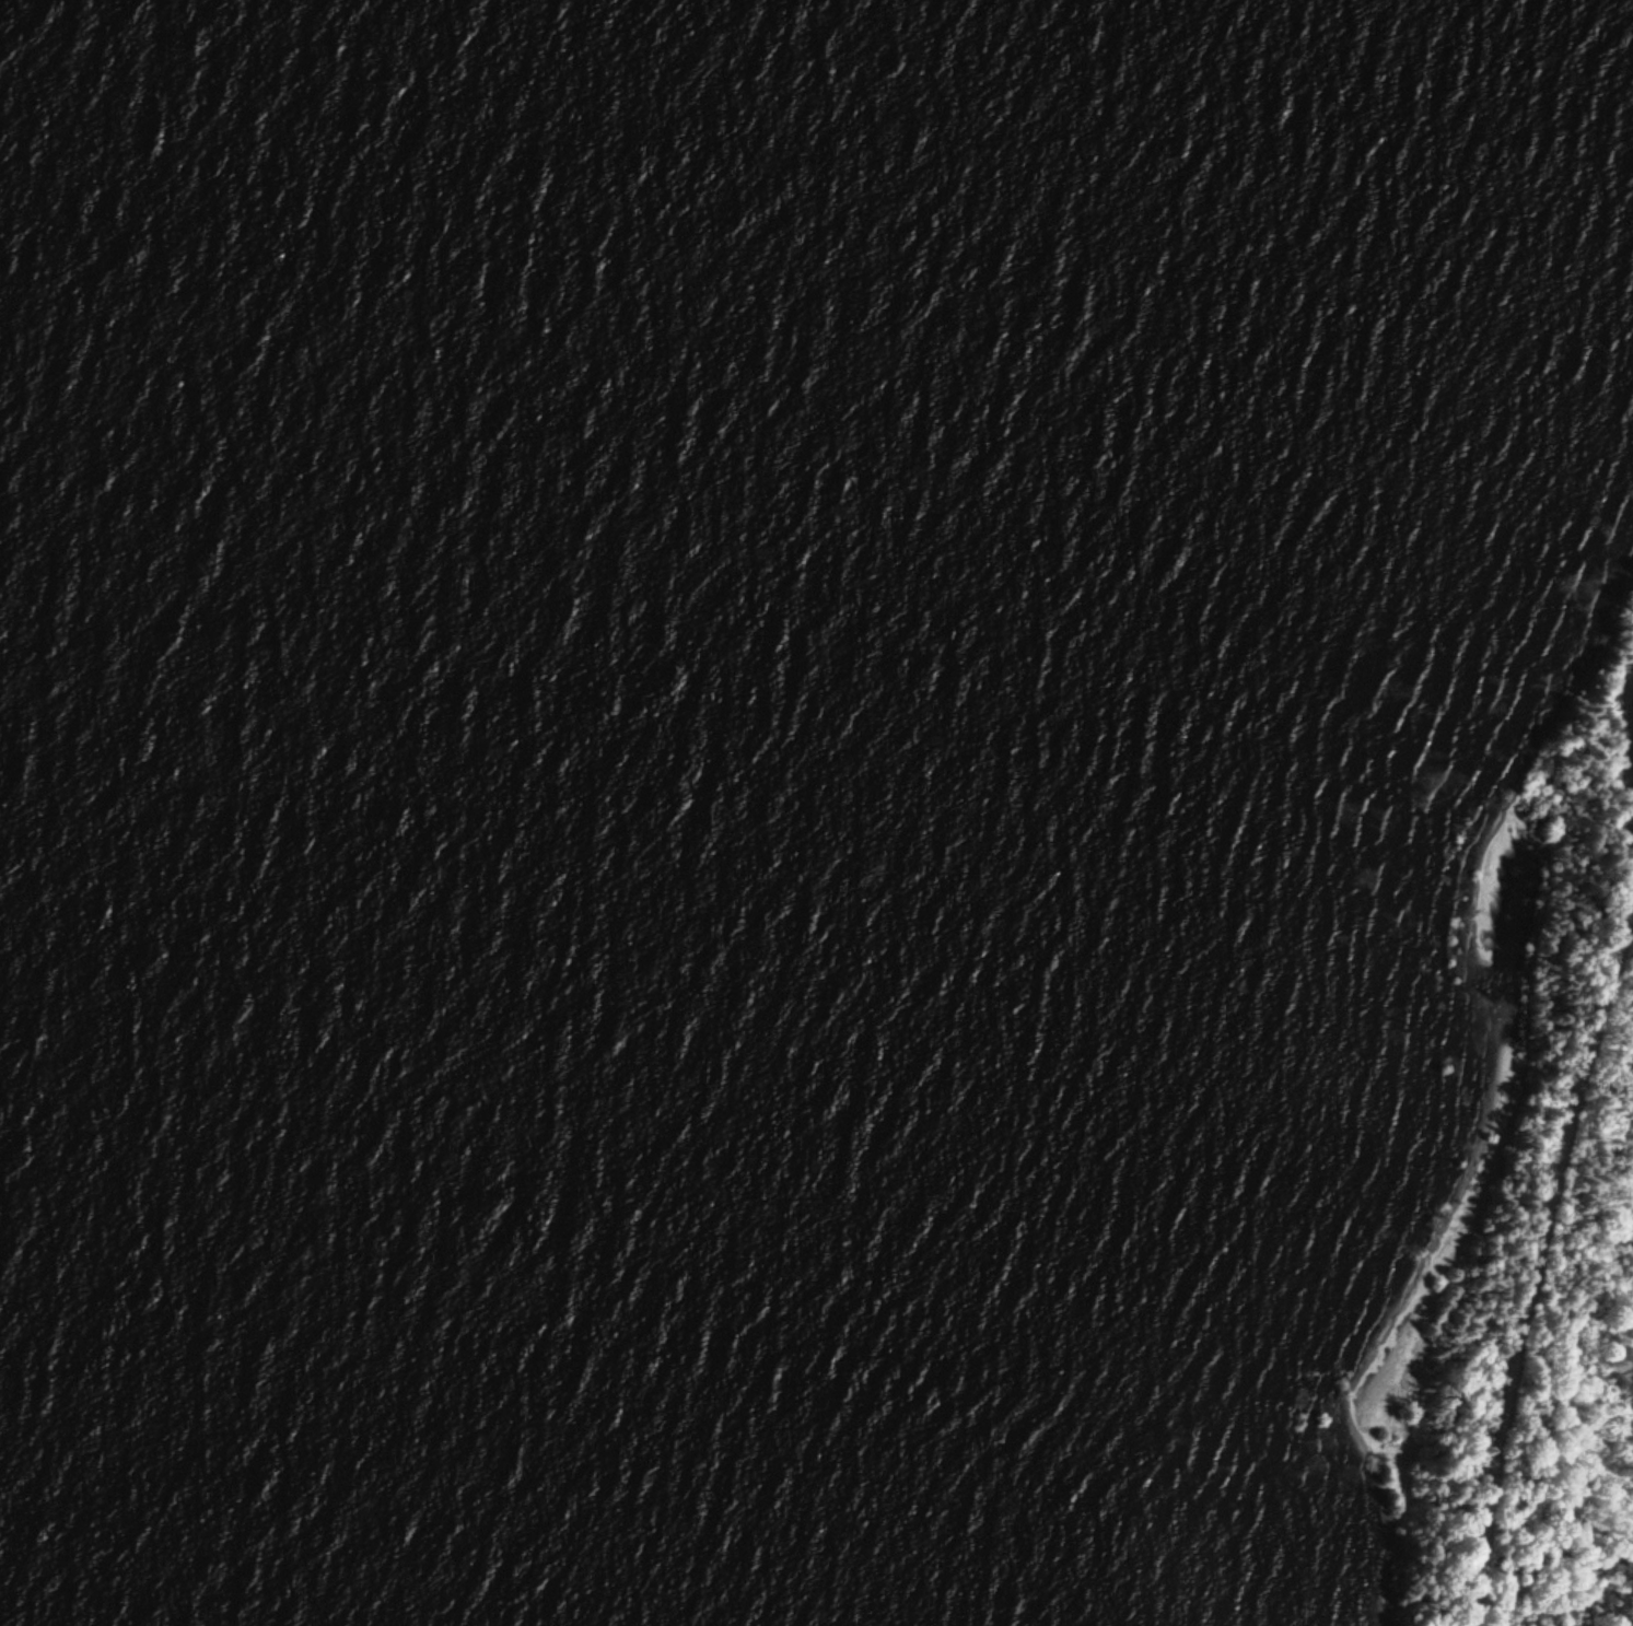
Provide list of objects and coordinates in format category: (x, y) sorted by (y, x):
road: (1625, 760)
park: (1445, 1107)
road: (1537, 1250)

